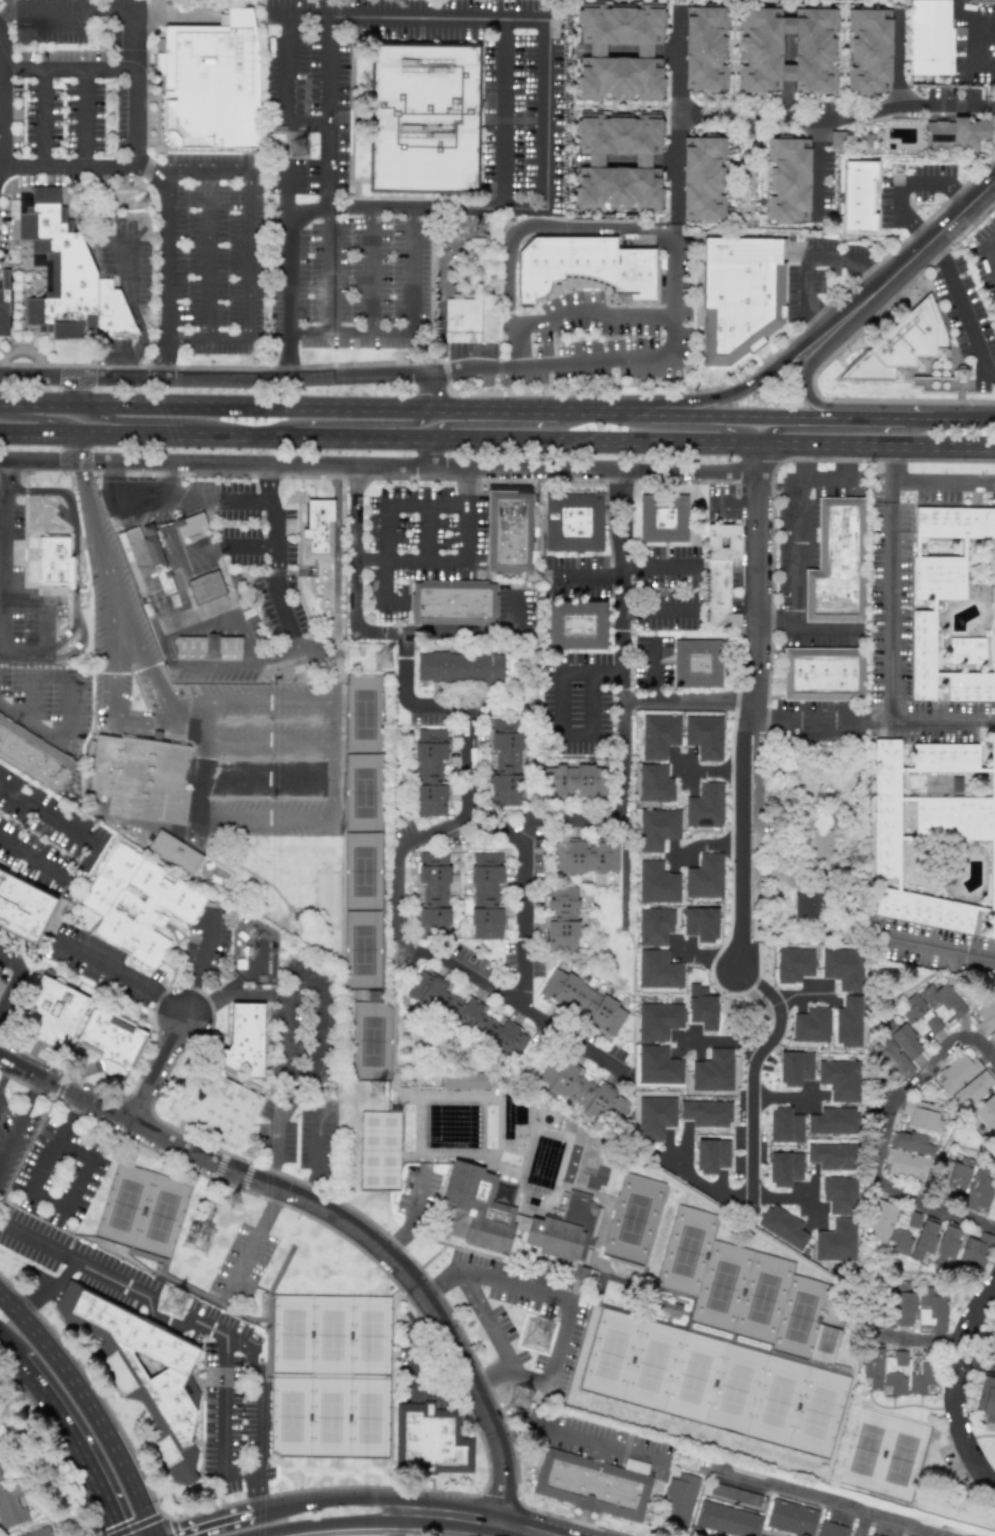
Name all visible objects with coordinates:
road: (137, 14)
road: (461, 16)
building: (22, 34)
road: (986, 35)
building: (930, 37)
building: (787, 50)
building: (618, 51)
building: (868, 51)
road: (895, 59)
road: (70, 68)
building: (994, 70)
road: (332, 71)
building: (211, 83)
road: (5, 99)
road: (917, 103)
road: (994, 108)
road: (994, 109)
road: (504, 112)
road: (44, 117)
road: (88, 117)
building: (424, 117)
road: (689, 119)
road: (526, 121)
road: (307, 124)
building: (957, 134)
building: (838, 140)
building: (865, 142)
power tower: (303, 147)
road: (817, 156)
building: (617, 161)
road: (673, 165)
road: (73, 166)
road: (156, 168)
building: (702, 178)
building: (786, 181)
road: (923, 186)
road: (956, 196)
building: (858, 198)
road: (898, 203)
power tower: (145, 204)
road: (417, 207)
road: (672, 222)
road: (587, 226)
road: (914, 226)
road: (329, 228)
road: (248, 232)
road: (937, 246)
road: (830, 258)
road: (903, 262)
building: (583, 265)
road: (372, 270)
road: (289, 272)
road: (863, 273)
building: (66, 275)
road: (807, 285)
building: (743, 293)
building: (3, 303)
building: (462, 313)
road: (134, 315)
road: (965, 317)
road: (591, 321)
road: (816, 323)
road: (408, 329)
road: (188, 339)
building: (903, 345)
parking lot: (470, 348)
road: (160, 357)
road: (830, 358)
road: (221, 367)
road: (755, 369)
road: (396, 374)
road: (39, 376)
road: (100, 377)
road: (77, 389)
road: (429, 391)
road: (807, 391)
road: (727, 395)
road: (38, 402)
road: (355, 406)
road: (740, 415)
road: (889, 418)
road: (963, 418)
road: (39, 419)
road: (148, 419)
road: (355, 423)
road: (504, 424)
road: (697, 427)
road: (835, 429)
road: (379, 435)
road: (876, 444)
road: (428, 451)
road: (758, 457)
road: (804, 459)
road: (804, 461)
road: (848, 461)
road: (892, 462)
road: (378, 465)
road: (34, 472)
road: (404, 477)
road: (827, 478)
road: (858, 478)
road: (943, 481)
road: (3, 493)
road: (994, 494)
road: (221, 497)
road: (427, 503)
road: (122, 504)
road: (736, 504)
road: (467, 514)
building: (662, 518)
road: (89, 519)
building: (573, 522)
building: (190, 524)
road: (25, 528)
building: (317, 529)
road: (427, 531)
building: (508, 531)
road: (232, 544)
road: (75, 550)
road: (796, 550)
road: (385, 555)
road: (410, 558)
road: (5, 559)
building: (53, 560)
building: (145, 560)
building: (837, 562)
road: (660, 566)
road: (335, 569)
building: (720, 573)
road: (586, 577)
road: (624, 582)
building: (206, 587)
building: (453, 602)
building: (954, 603)
road: (41, 612)
road: (660, 612)
building: (575, 624)
road: (763, 626)
road: (810, 627)
road: (365, 631)
road: (480, 632)
building: (208, 644)
road: (75, 648)
road: (892, 649)
road: (168, 650)
road: (25, 656)
power tower: (337, 660)
power tower: (386, 661)
road: (254, 662)
road: (768, 662)
building: (697, 663)
road: (147, 664)
building: (459, 667)
road: (654, 672)
building: (823, 673)
road: (116, 694)
road: (30, 697)
road: (485, 708)
road: (559, 715)
road: (806, 718)
road: (747, 722)
road: (190, 725)
road: (266, 734)
building: (659, 736)
building: (704, 736)
road: (59, 737)
road: (623, 746)
building: (33, 754)
building: (505, 763)
building: (431, 771)
road: (265, 776)
building: (140, 778)
building: (574, 781)
building: (655, 784)
road: (332, 793)
road: (756, 801)
building: (705, 806)
building: (657, 829)
park: (363, 830)
building: (933, 835)
road: (706, 843)
building: (820, 846)
road: (94, 851)
building: (175, 852)
building: (585, 856)
building: (705, 877)
building: (657, 883)
building: (432, 891)
building: (487, 895)
road: (528, 895)
building: (138, 903)
building: (808, 905)
building: (23, 907)
building: (562, 919)
road: (399, 923)
building: (701, 923)
building: (654, 926)
road: (941, 948)
building: (794, 964)
building: (0, 967)
building: (843, 967)
road: (199, 970)
building: (658, 970)
road: (13, 974)
road: (120, 974)
building: (1, 983)
road: (800, 991)
building: (583, 1002)
building: (702, 1007)
building: (932, 1009)
road: (321, 1010)
building: (53, 1012)
building: (466, 1015)
building: (987, 1018)
building: (658, 1020)
building: (848, 1022)
building: (811, 1025)
park: (371, 1039)
building: (244, 1040)
building: (111, 1041)
building: (905, 1042)
building: (892, 1059)
building: (658, 1066)
building: (795, 1068)
road: (159, 1070)
building: (713, 1071)
road: (5, 1072)
road: (751, 1073)
building: (964, 1078)
building: (840, 1079)
building: (465, 1080)
building: (583, 1090)
power tower: (381, 1091)
power tower: (337, 1097)
road: (782, 1097)
building: (214, 1106)
building: (706, 1113)
building: (922, 1115)
building: (983, 1116)
building: (655, 1117)
building: (833, 1121)
road: (22, 1123)
building: (785, 1125)
road: (881, 1133)
road: (273, 1142)
park: (379, 1149)
road: (317, 1155)
building: (712, 1155)
building: (907, 1155)
building: (832, 1156)
building: (785, 1168)
building: (954, 1178)
road: (705, 1185)
building: (979, 1189)
building: (839, 1194)
road: (776, 1196)
road: (45, 1201)
power tower: (235, 1202)
park: (143, 1209)
road: (332, 1213)
road: (412, 1215)
building: (511, 1217)
park: (633, 1218)
building: (783, 1226)
building: (901, 1229)
road: (257, 1232)
power tower: (204, 1240)
building: (836, 1241)
building: (946, 1245)
building: (975, 1251)
road: (494, 1278)
park: (740, 1285)
road: (50, 1290)
power tower: (177, 1304)
building: (900, 1307)
building: (668, 1308)
building: (932, 1310)
road: (179, 1322)
building: (994, 1322)
power tower: (542, 1331)
road: (494, 1338)
building: (991, 1348)
road: (5, 1355)
road: (553, 1364)
road: (975, 1364)
building: (872, 1367)
building: (143, 1372)
building: (895, 1372)
building: (921, 1372)
road: (491, 1373)
park: (329, 1374)
park: (715, 1379)
road: (953, 1384)
power tower: (521, 1397)
building: (986, 1401)
road: (91, 1405)
road: (223, 1423)
road: (575, 1435)
building: (432, 1439)
road: (74, 1442)
park: (882, 1454)
road: (488, 1459)
building: (593, 1484)
road: (787, 1488)
road: (259, 1491)
road: (326, 1496)
building: (679, 1502)
building: (10, 1504)
road: (448, 1512)
road: (218, 1514)
building: (791, 1518)
road: (897, 1518)
building: (727, 1519)
road: (394, 1521)
road: (326, 1523)
road: (525, 1529)
building: (831, 1529)
building: (40, 1533)
road: (177, 1533)
building: (872, 1535)

